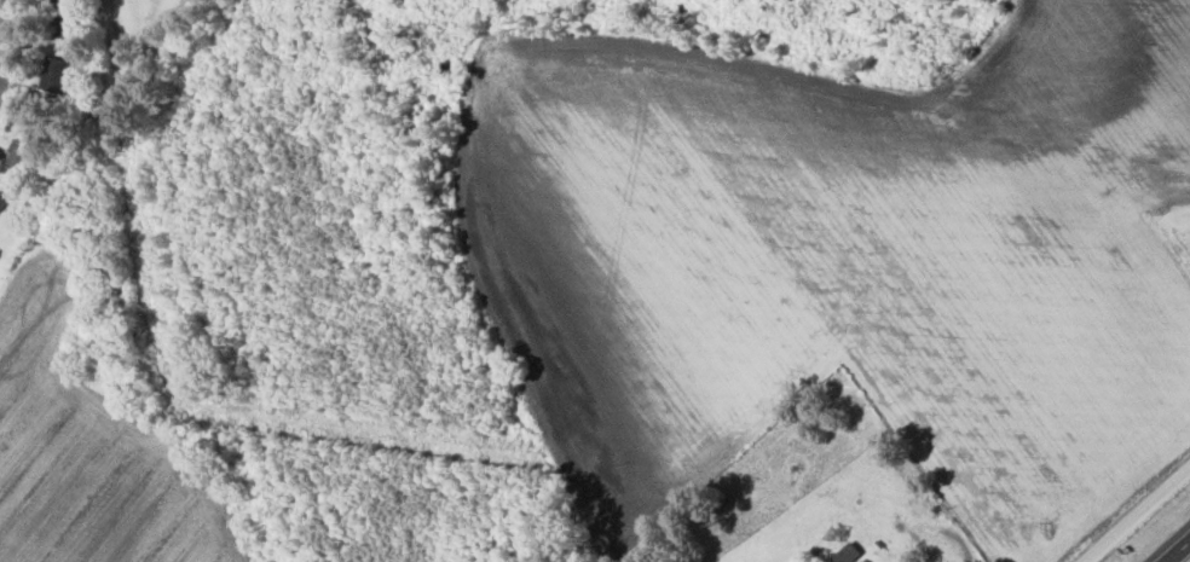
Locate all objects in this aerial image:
building: (69, 18)
road: (8, 40)
building: (57, 76)
building: (23, 156)
building: (4, 202)
road: (1142, 518)
building: (847, 554)
road: (1182, 555)

